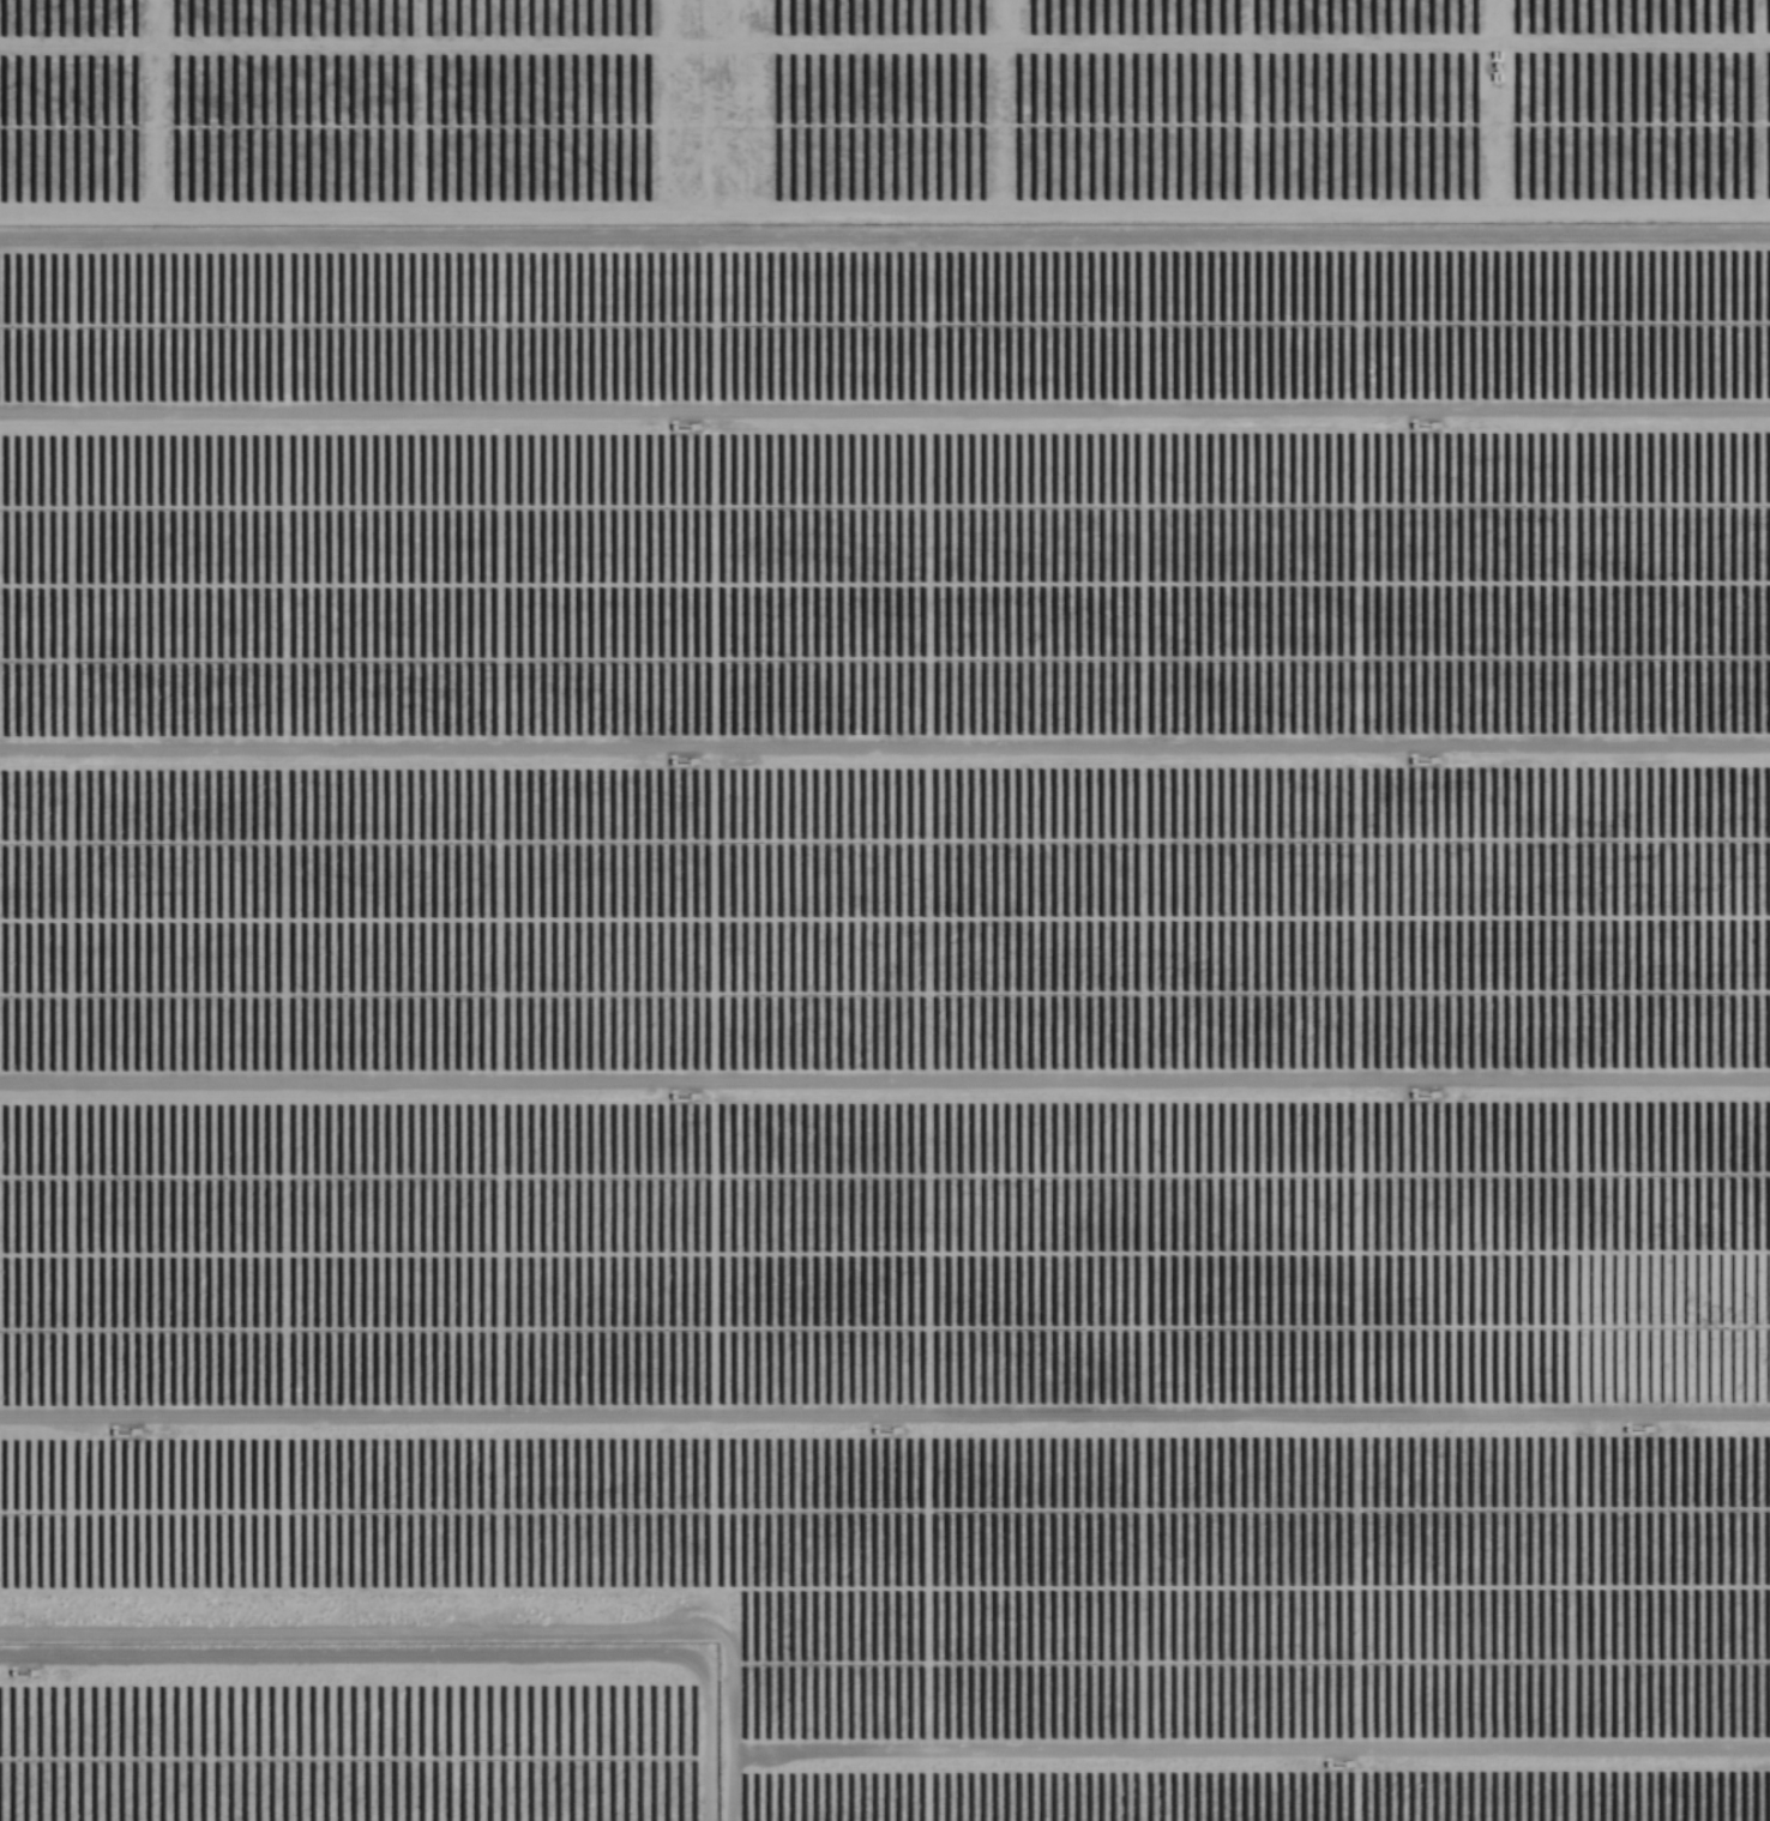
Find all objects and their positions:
solar farm: (883, 109)
solar farm: (909, 987)
solar farm: (355, 1732)

